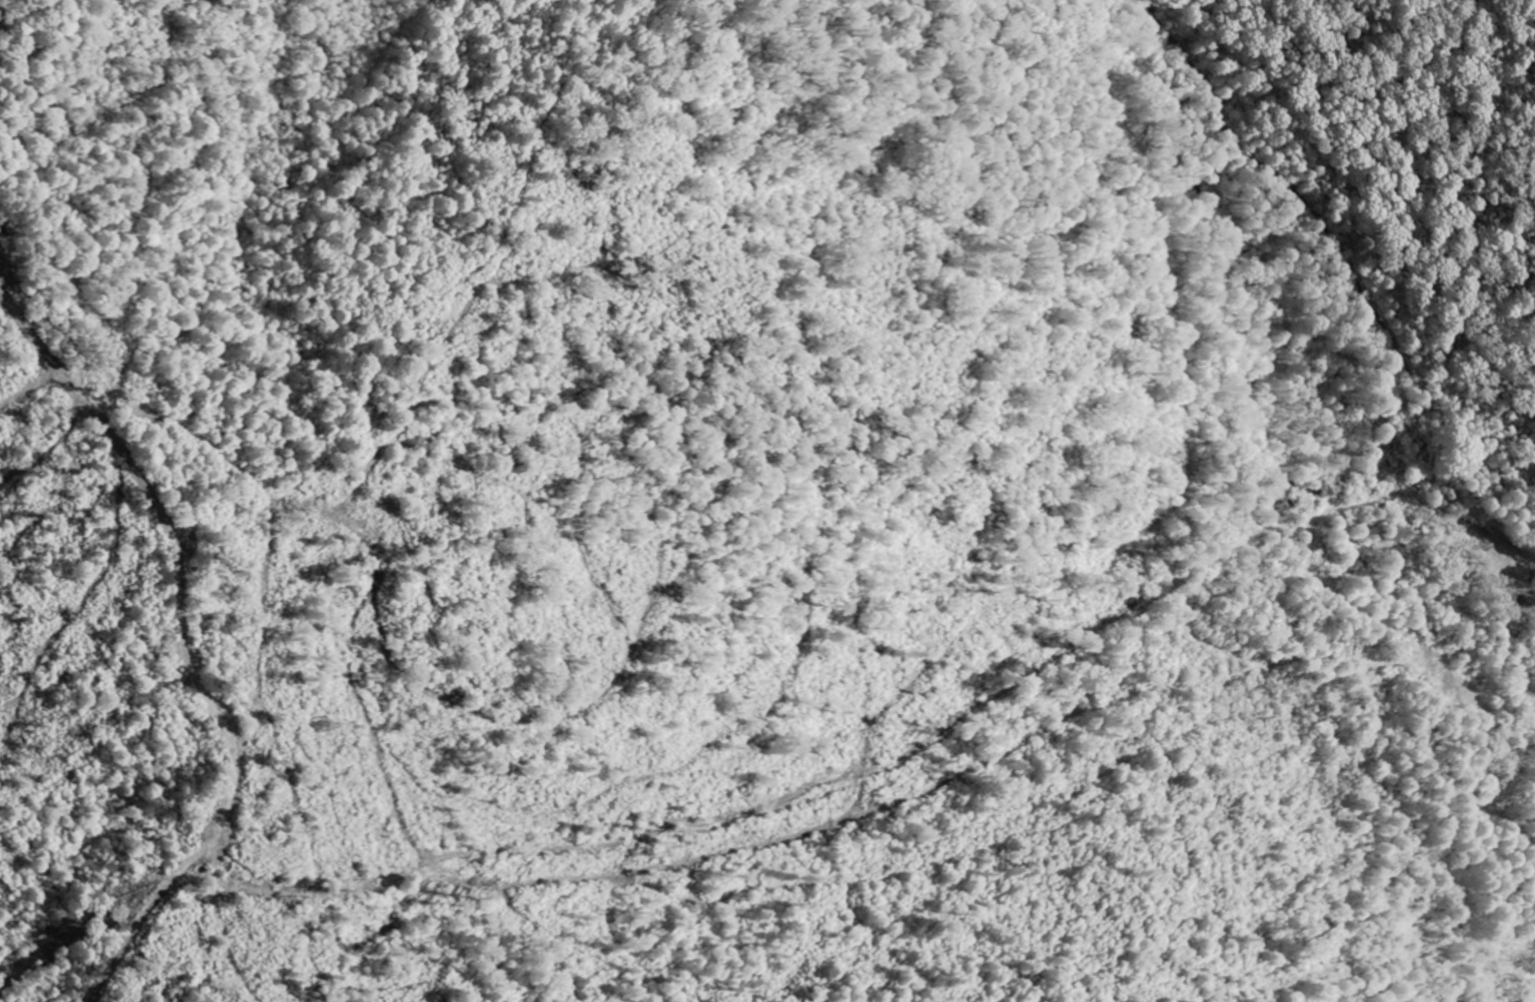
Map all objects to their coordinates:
road: (1339, 260)

